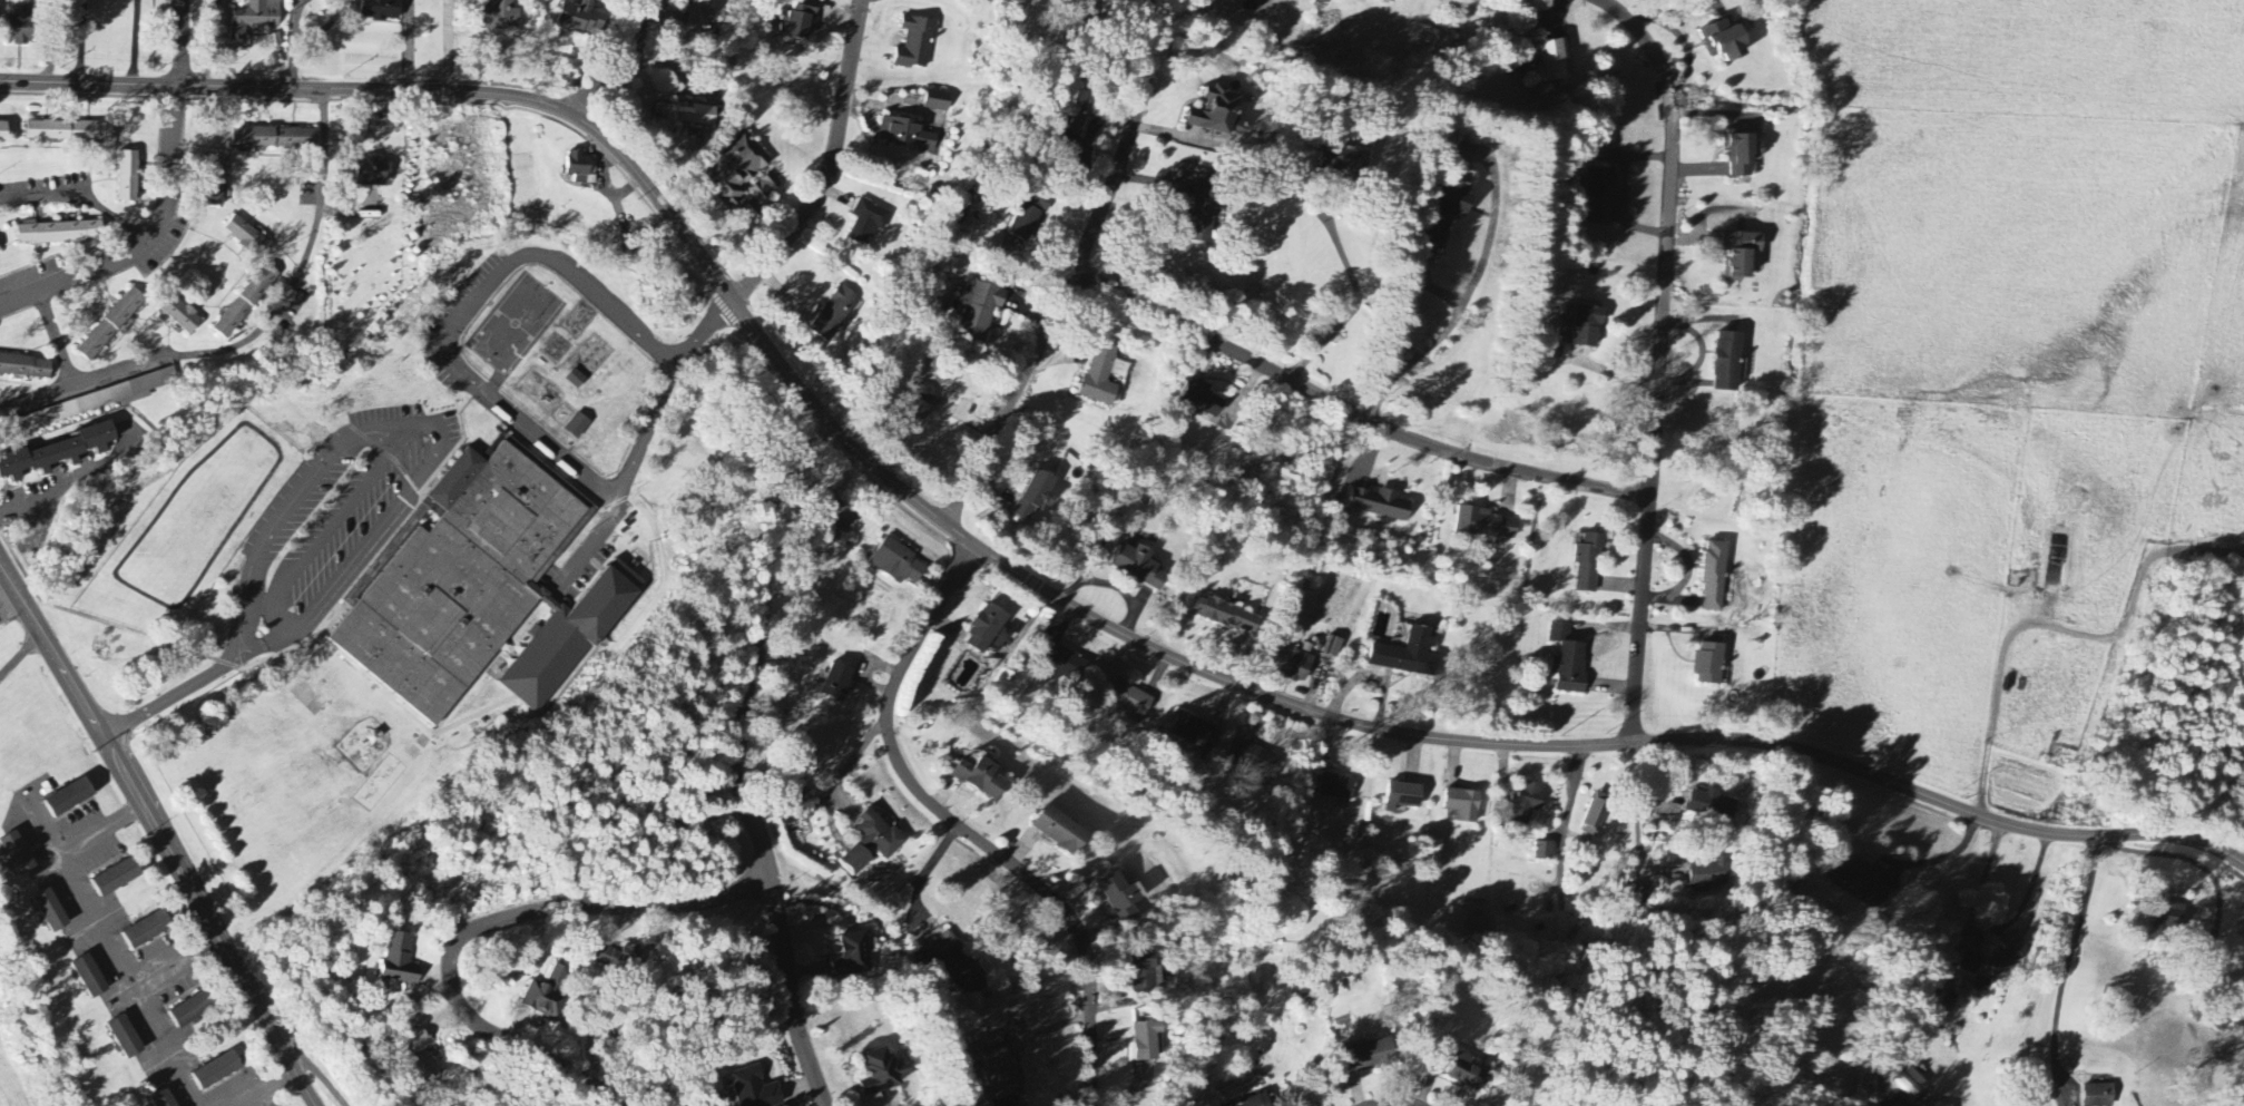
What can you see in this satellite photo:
building: (381, 10)
building: (706, 12)
building: (500, 17)
building: (255, 18)
road: (297, 19)
building: (584, 19)
building: (800, 21)
building: (22, 27)
road: (324, 29)
building: (1726, 41)
road: (82, 43)
road: (135, 45)
road: (179, 45)
building: (915, 45)
road: (291, 63)
road: (625, 67)
road: (480, 92)
building: (939, 101)
building: (1225, 112)
building: (686, 117)
building: (1080, 120)
building: (3, 130)
building: (69, 131)
building: (907, 134)
building: (275, 138)
road: (1129, 138)
building: (1743, 153)
building: (1351, 162)
road: (830, 164)
building: (739, 168)
building: (582, 169)
building: (372, 173)
building: (128, 177)
building: (215, 182)
building: (766, 188)
road: (82, 193)
building: (1600, 196)
building: (1453, 206)
building: (1208, 214)
building: (1032, 215)
building: (868, 222)
building: (60, 234)
building: (245, 236)
road: (147, 245)
building: (0, 251)
building: (1742, 255)
road: (1343, 256)
building: (246, 303)
building: (180, 315)
building: (835, 315)
road: (461, 317)
building: (110, 325)
building: (1589, 326)
road: (254, 334)
road: (59, 340)
road: (1660, 359)
building: (1729, 362)
building: (26, 368)
building: (1100, 376)
road: (1012, 398)
building: (1202, 399)
building: (98, 401)
building: (922, 403)
road: (1353, 411)
building: (578, 427)
road: (219, 444)
road: (638, 444)
building: (58, 453)
road: (375, 474)
building: (1036, 496)
building: (1381, 505)
building: (842, 518)
building: (1486, 525)
building: (898, 562)
building: (1589, 564)
building: (1139, 567)
building: (1715, 577)
building: (474, 591)
building: (1228, 616)
building: (989, 632)
road: (145, 636)
building: (1333, 647)
building: (1409, 654)
building: (1569, 660)
building: (1711, 665)
building: (1066, 667)
building: (1301, 667)
building: (839, 683)
building: (1129, 701)
building: (1196, 732)
road: (1496, 743)
road: (742, 758)
building: (1260, 762)
building: (982, 779)
building: (1337, 786)
building: (1404, 796)
building: (70, 797)
road: (1639, 800)
building: (1529, 802)
building: (807, 803)
building: (1696, 804)
building: (1464, 805)
building: (1596, 814)
road: (1568, 820)
road: (47, 824)
road: (962, 829)
building: (1060, 831)
road: (160, 834)
building: (873, 842)
road: (70, 843)
building: (1545, 852)
building: (18, 854)
road: (1946, 857)
road: (2188, 860)
building: (1856, 872)
building: (1709, 875)
building: (117, 878)
building: (1121, 898)
road: (2028, 900)
building: (51, 911)
building: (2165, 918)
road: (488, 922)
building: (148, 930)
building: (1582, 941)
building: (2007, 952)
building: (619, 957)
building: (852, 957)
road: (175, 958)
park: (503, 958)
building: (400, 961)
building: (1970, 961)
building: (958, 966)
road: (1951, 969)
road: (2068, 970)
building: (1144, 972)
building: (90, 977)
building: (1981, 982)
road: (135, 989)
building: (546, 995)
building: (194, 1009)
building: (1941, 1009)
building: (126, 1038)
building: (1146, 1041)
building: (1371, 1056)
building: (420, 1057)
building: (1005, 1069)
building: (218, 1071)
building: (882, 1071)
building: (1467, 1074)
building: (1907, 1080)
road: (188, 1086)
road: (264, 1087)
building: (754, 1088)
building: (2087, 1095)
building: (165, 1099)
building: (1256, 1102)
road: (1395, 1103)
building: (1938, 1104)

